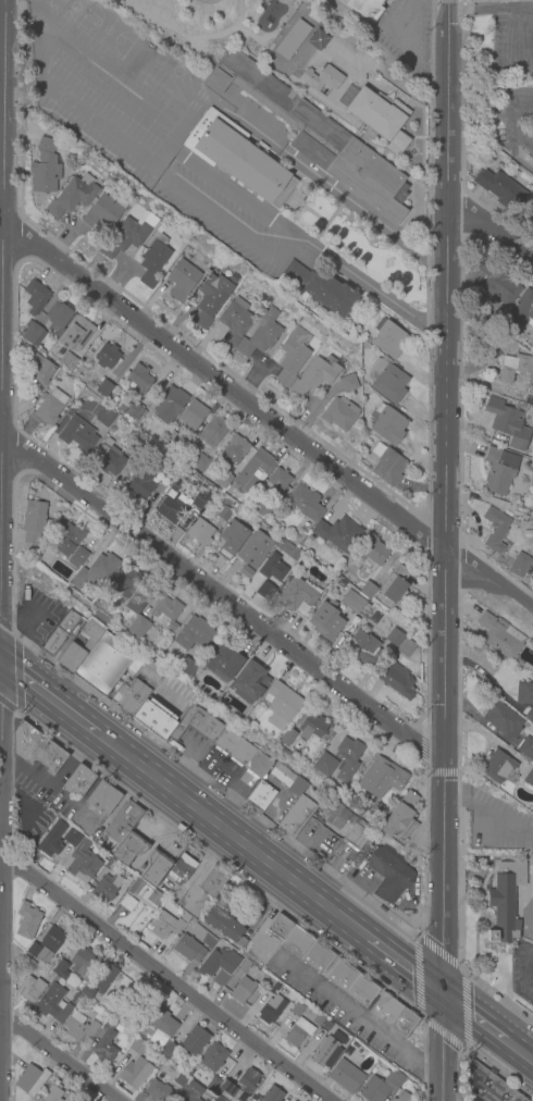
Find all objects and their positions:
road: (447, 0)
building: (283, 1)
building: (364, 8)
road: (489, 8)
building: (313, 17)
road: (525, 29)
parking lot: (404, 33)
building: (320, 37)
building: (293, 40)
parking lot: (511, 42)
road: (404, 46)
road: (383, 74)
road: (109, 77)
building: (323, 78)
park: (498, 83)
road: (479, 90)
road: (511, 104)
road: (194, 109)
road: (522, 115)
parking lot: (518, 116)
building: (381, 119)
road: (482, 126)
road: (516, 134)
building: (318, 138)
building: (237, 158)
road: (518, 161)
building: (45, 168)
road: (157, 169)
building: (500, 189)
building: (72, 196)
road: (1, 212)
building: (104, 212)
road: (232, 215)
building: (530, 218)
road: (489, 233)
building: (127, 235)
building: (153, 261)
road: (2, 280)
building: (183, 280)
building: (497, 282)
building: (321, 288)
road: (376, 290)
building: (36, 297)
building: (209, 302)
building: (522, 310)
building: (58, 317)
building: (235, 322)
building: (34, 334)
building: (76, 334)
building: (261, 334)
building: (388, 339)
building: (501, 342)
building: (25, 348)
building: (107, 356)
building: (293, 356)
building: (67, 362)
building: (83, 363)
building: (515, 368)
building: (38, 369)
building: (315, 376)
building: (139, 378)
building: (387, 381)
building: (348, 384)
building: (104, 388)
building: (531, 389)
building: (529, 401)
building: (169, 405)
building: (49, 408)
building: (131, 409)
building: (339, 413)
building: (193, 415)
building: (104, 417)
road: (263, 419)
building: (507, 423)
building: (387, 424)
building: (212, 432)
building: (78, 435)
road: (1, 436)
building: (181, 446)
building: (159, 449)
building: (234, 449)
building: (108, 460)
building: (522, 462)
building: (200, 463)
building: (387, 466)
building: (170, 469)
building: (252, 470)
building: (498, 471)
building: (222, 479)
building: (275, 483)
building: (140, 484)
road: (445, 496)
building: (179, 503)
building: (305, 506)
building: (265, 511)
building: (224, 514)
building: (520, 514)
building: (34, 522)
building: (49, 525)
building: (495, 530)
building: (200, 533)
building: (338, 533)
building: (528, 534)
building: (69, 539)
building: (232, 540)
building: (255, 549)
building: (371, 550)
building: (78, 557)
building: (520, 566)
building: (95, 570)
building: (246, 572)
building: (272, 572)
building: (124, 581)
building: (340, 582)
building: (395, 584)
building: (364, 590)
building: (298, 597)
building: (352, 603)
road: (223, 604)
building: (135, 605)
building: (168, 610)
parking lot: (37, 616)
building: (326, 620)
road: (7, 626)
building: (138, 628)
building: (59, 633)
building: (194, 633)
building: (168, 635)
building: (499, 635)
building: (395, 638)
building: (362, 648)
building: (406, 648)
building: (96, 658)
building: (224, 661)
building: (188, 668)
building: (150, 671)
road: (18, 676)
building: (397, 680)
building: (250, 682)
building: (524, 693)
building: (129, 696)
parking lot: (172, 697)
road: (48, 698)
building: (282, 702)
road: (8, 707)
building: (529, 716)
building: (500, 718)
building: (312, 726)
building: (329, 731)
building: (202, 734)
building: (287, 738)
road: (424, 741)
parking lot: (189, 745)
road: (1, 746)
building: (526, 749)
building: (38, 750)
building: (348, 750)
road: (76, 759)
building: (326, 765)
building: (496, 766)
road: (11, 771)
parking lot: (226, 772)
road: (443, 774)
building: (381, 778)
building: (529, 778)
parking lot: (35, 780)
building: (78, 781)
road: (39, 788)
road: (14, 793)
building: (260, 797)
building: (103, 799)
building: (299, 800)
parking lot: (65, 805)
road: (1, 812)
road: (26, 814)
road: (489, 815)
building: (336, 816)
building: (401, 817)
parking lot: (28, 821)
parking lot: (89, 822)
building: (124, 822)
parking lot: (497, 824)
road: (232, 836)
building: (358, 836)
building: (71, 838)
building: (52, 840)
building: (128, 851)
building: (83, 863)
building: (110, 866)
building: (154, 868)
building: (182, 870)
building: (389, 874)
building: (213, 882)
building: (532, 886)
building: (106, 888)
building: (145, 894)
building: (505, 902)
building: (127, 903)
building: (27, 921)
building: (163, 926)
building: (280, 927)
building: (231, 930)
building: (51, 940)
building: (188, 949)
parking lot: (259, 949)
building: (33, 950)
building: (307, 950)
building: (82, 961)
building: (27, 963)
road: (404, 964)
building: (219, 965)
building: (241, 969)
road: (458, 969)
building: (61, 970)
parking lot: (522, 972)
road: (528, 975)
road: (165, 977)
building: (117, 980)
building: (99, 982)
building: (351, 984)
building: (271, 985)
building: (30, 990)
building: (241, 990)
traffic signals: (441, 992)
building: (75, 999)
building: (294, 1000)
building: (52, 1004)
building: (296, 1009)
building: (271, 1010)
parking lot: (344, 1012)
building: (393, 1015)
road: (349, 1016)
road: (472, 1016)
building: (319, 1019)
building: (160, 1025)
building: (326, 1025)
building: (78, 1027)
building: (119, 1029)
building: (298, 1032)
building: (339, 1038)
building: (195, 1040)
building: (106, 1042)
building: (137, 1047)
road: (441, 1047)
building: (169, 1050)
road: (519, 1051)
building: (325, 1053)
road: (58, 1056)
building: (213, 1057)
road: (431, 1068)
building: (135, 1073)
building: (346, 1077)
building: (30, 1080)
building: (213, 1084)
building: (239, 1086)
building: (489, 1086)
building: (382, 1087)
building: (153, 1092)
building: (189, 1092)
building: (51, 1093)
building: (272, 1094)
building: (401, 1097)
building: (69, 1098)
building: (290, 1100)

